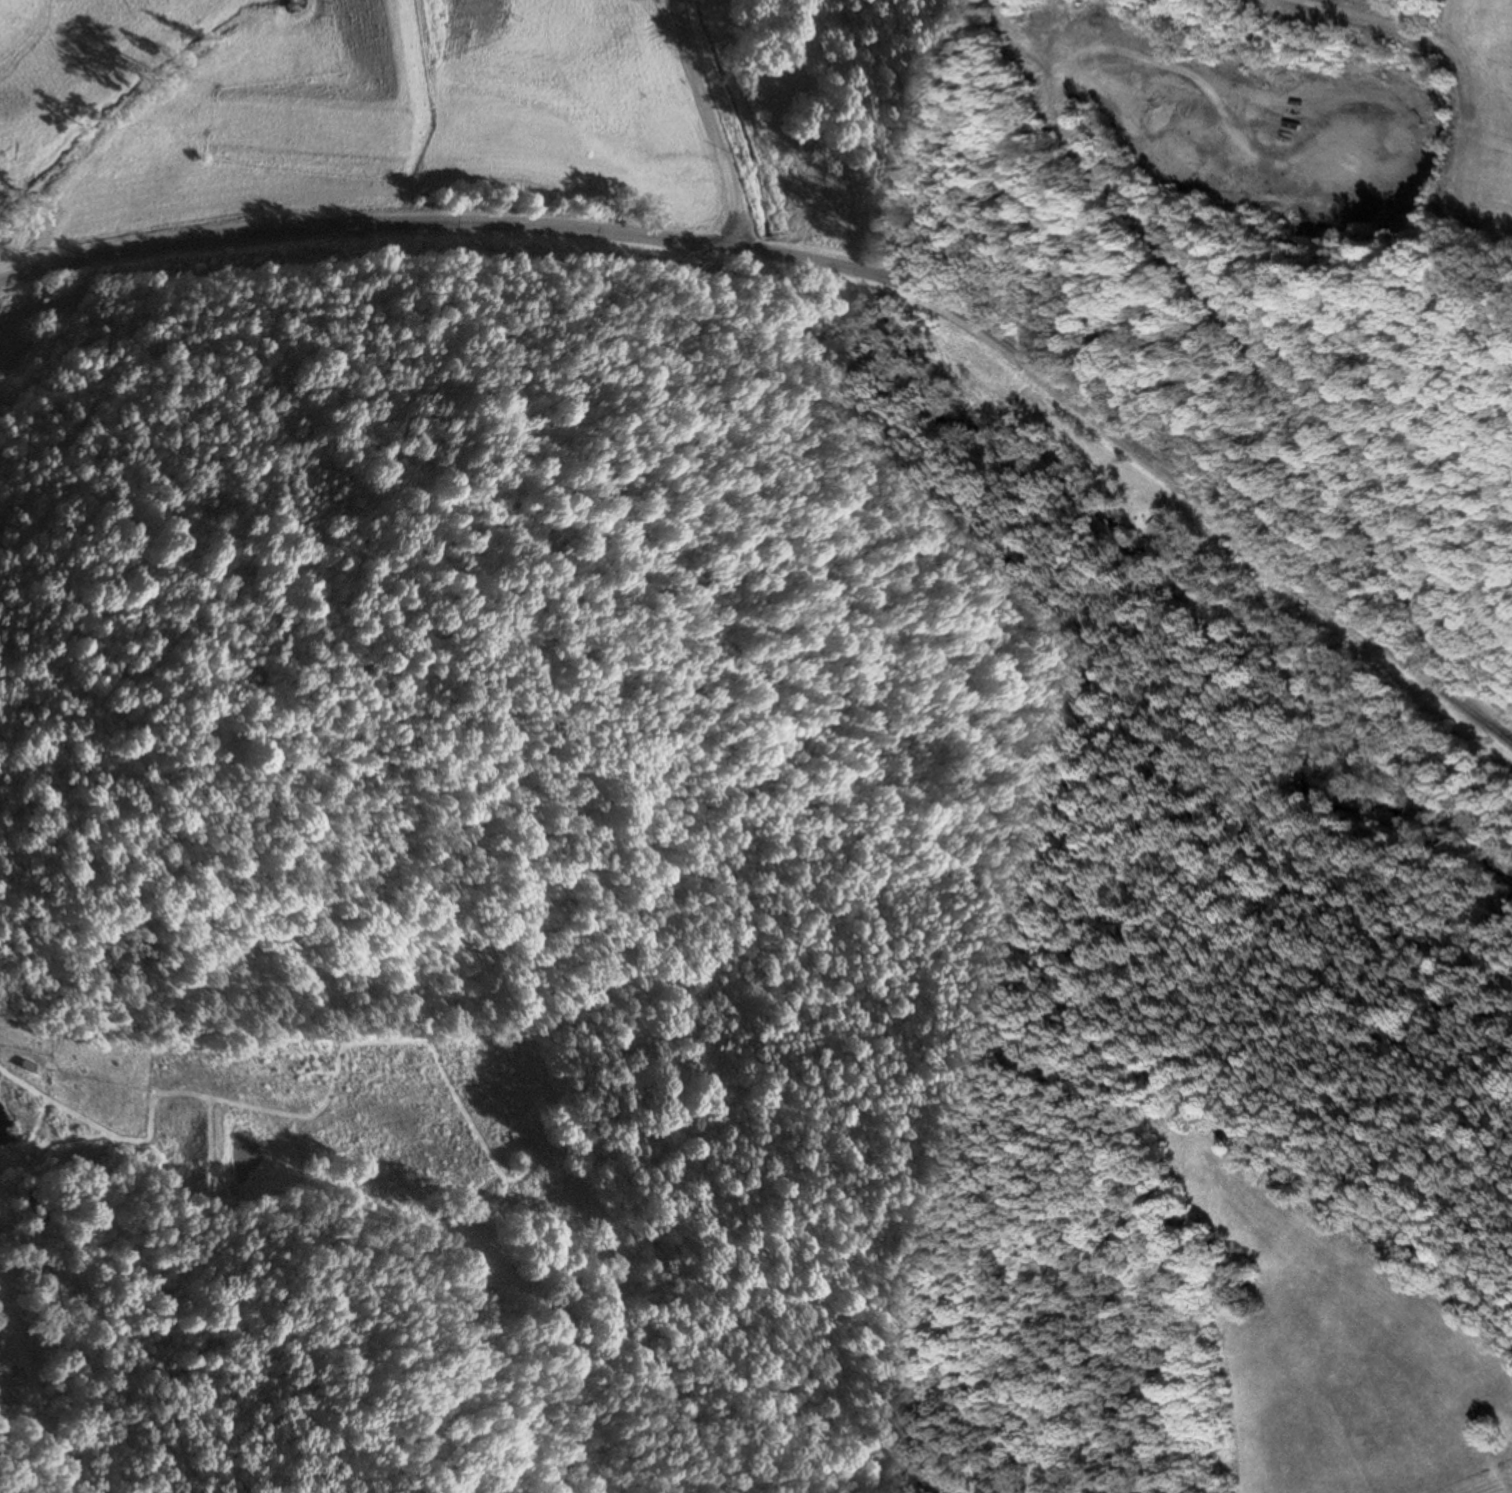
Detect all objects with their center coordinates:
road: (709, 122)
road: (828, 262)

